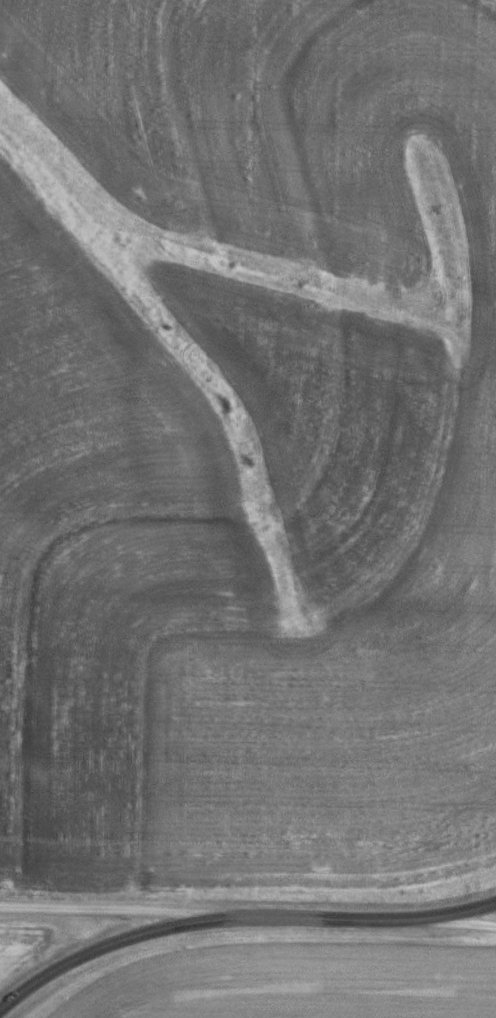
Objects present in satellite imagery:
road: (132, 908)
road: (238, 916)
road: (453, 922)

